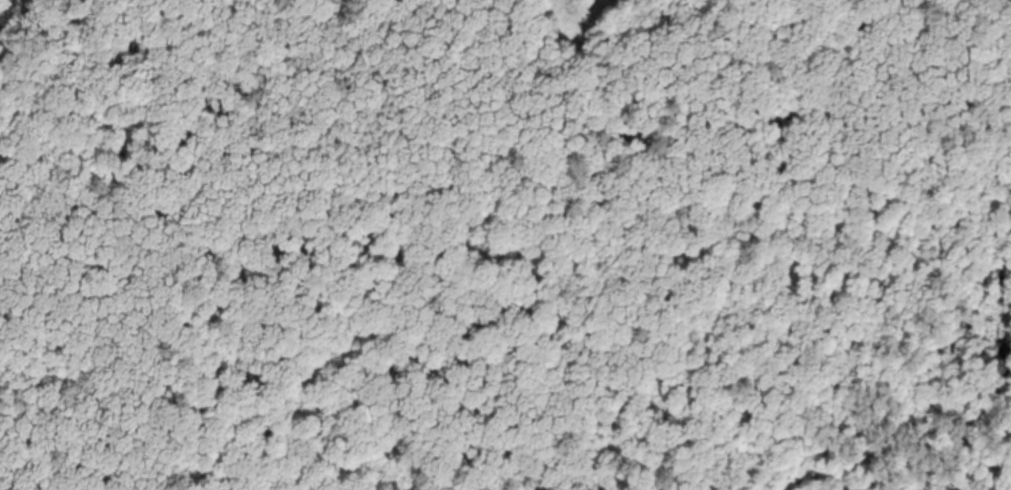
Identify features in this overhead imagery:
park: (491, 106)

